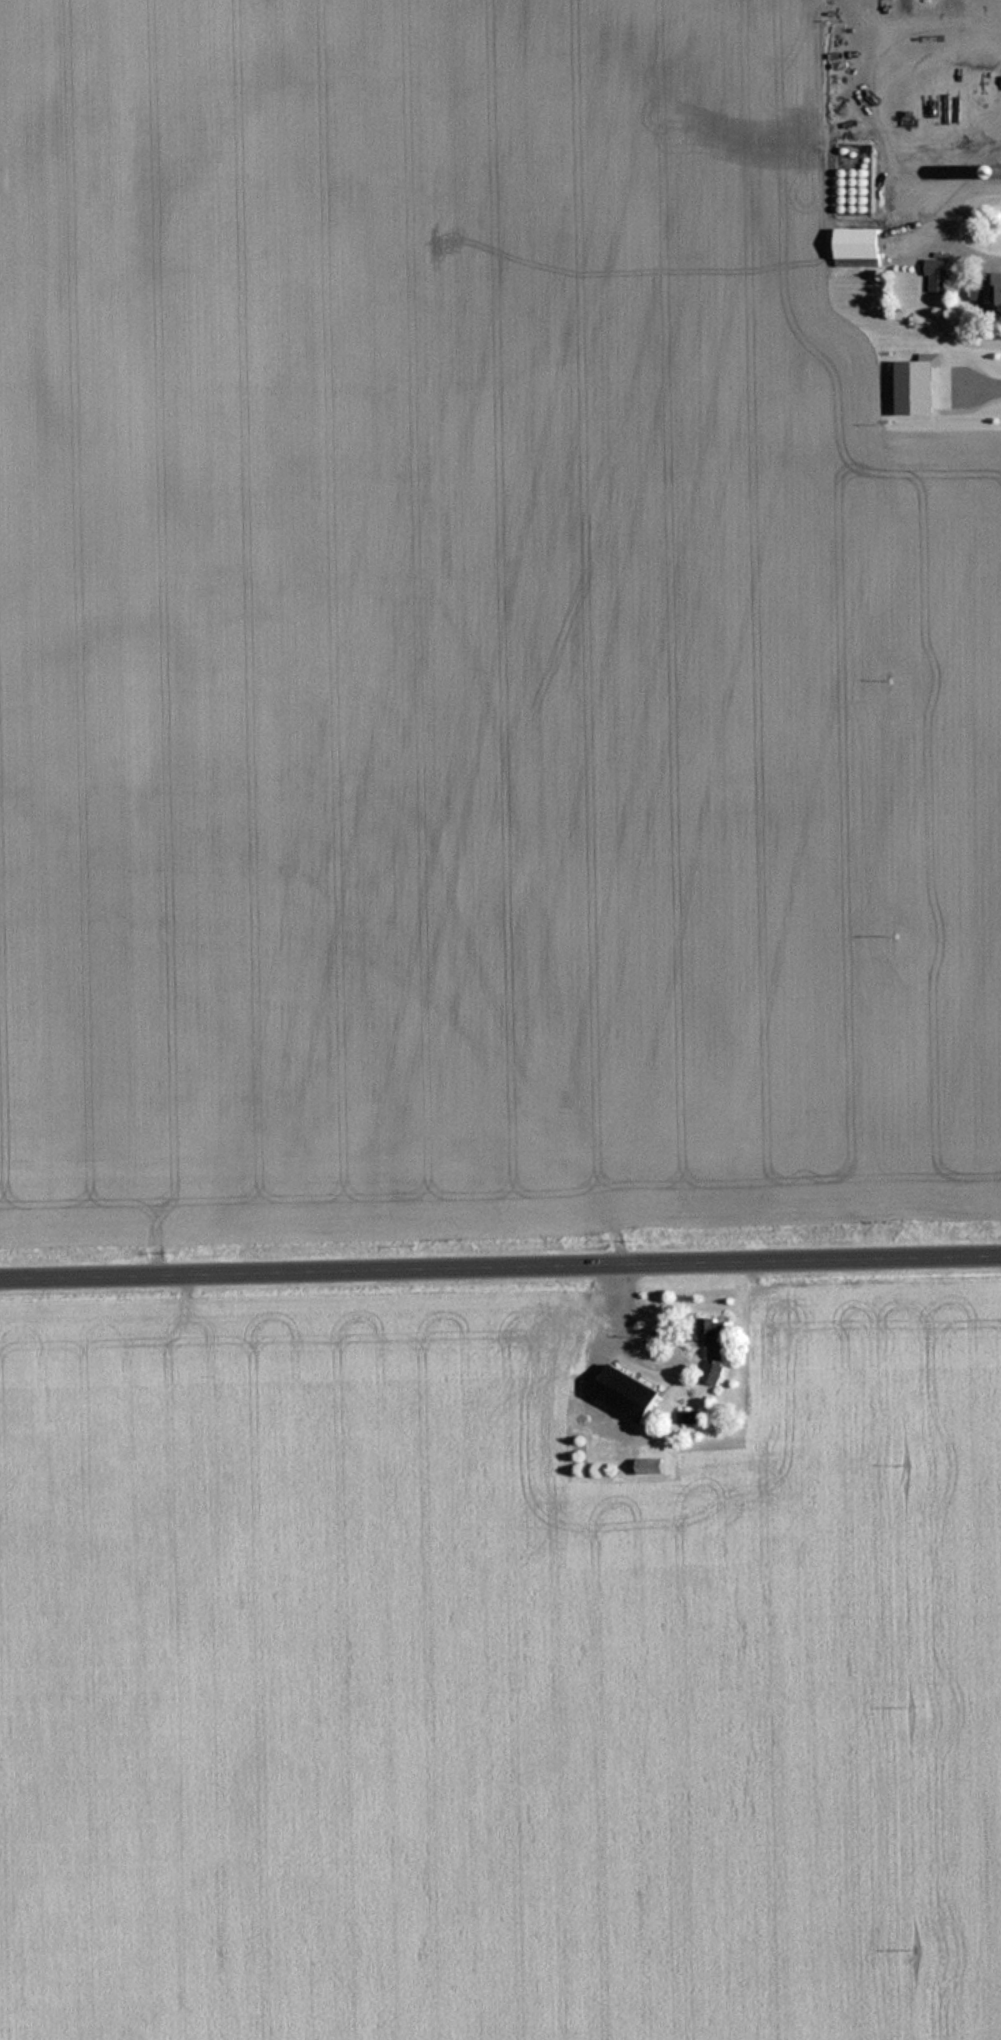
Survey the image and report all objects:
building: (970, 58)
building: (940, 132)
building: (852, 191)
building: (859, 247)
building: (938, 275)
building: (997, 291)
road: (500, 1265)
building: (714, 1334)
building: (712, 1371)
building: (627, 1393)

